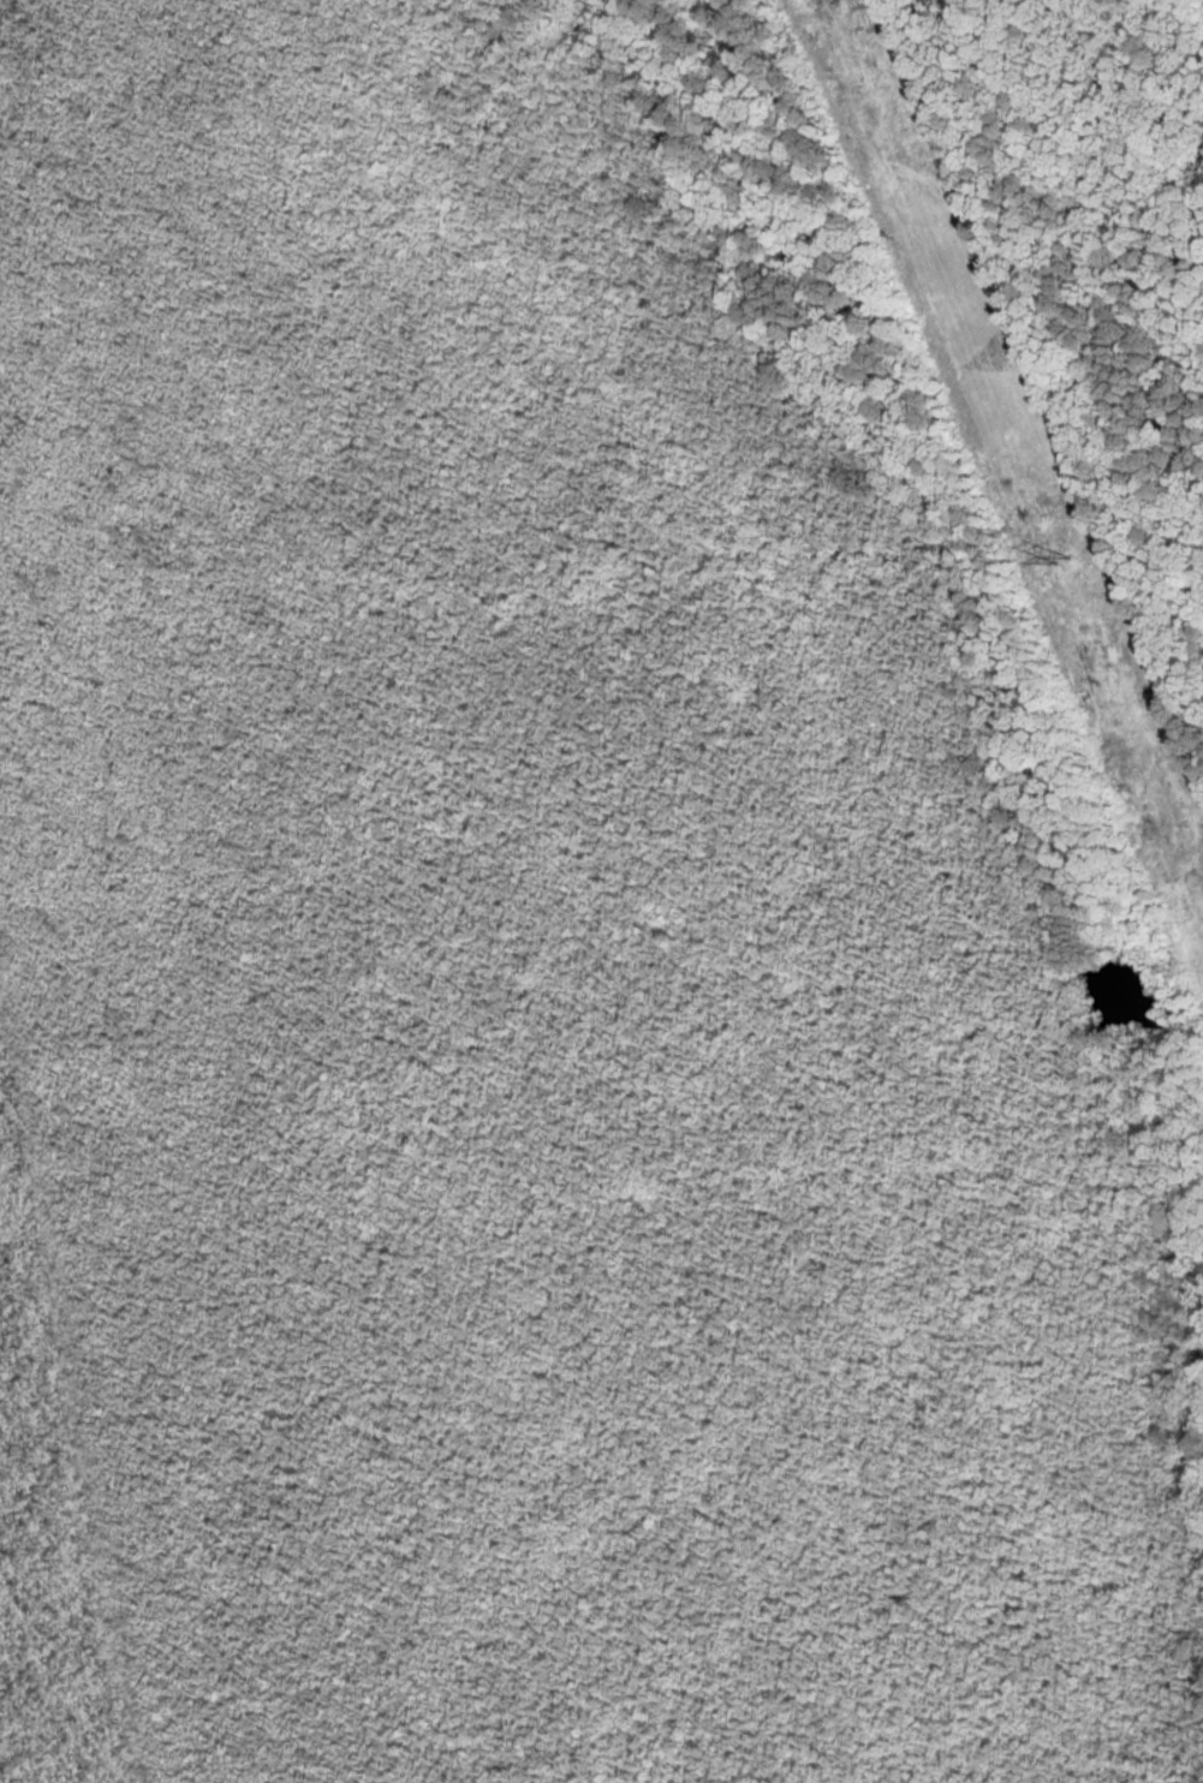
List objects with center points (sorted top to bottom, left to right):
power tower: (1064, 561)

